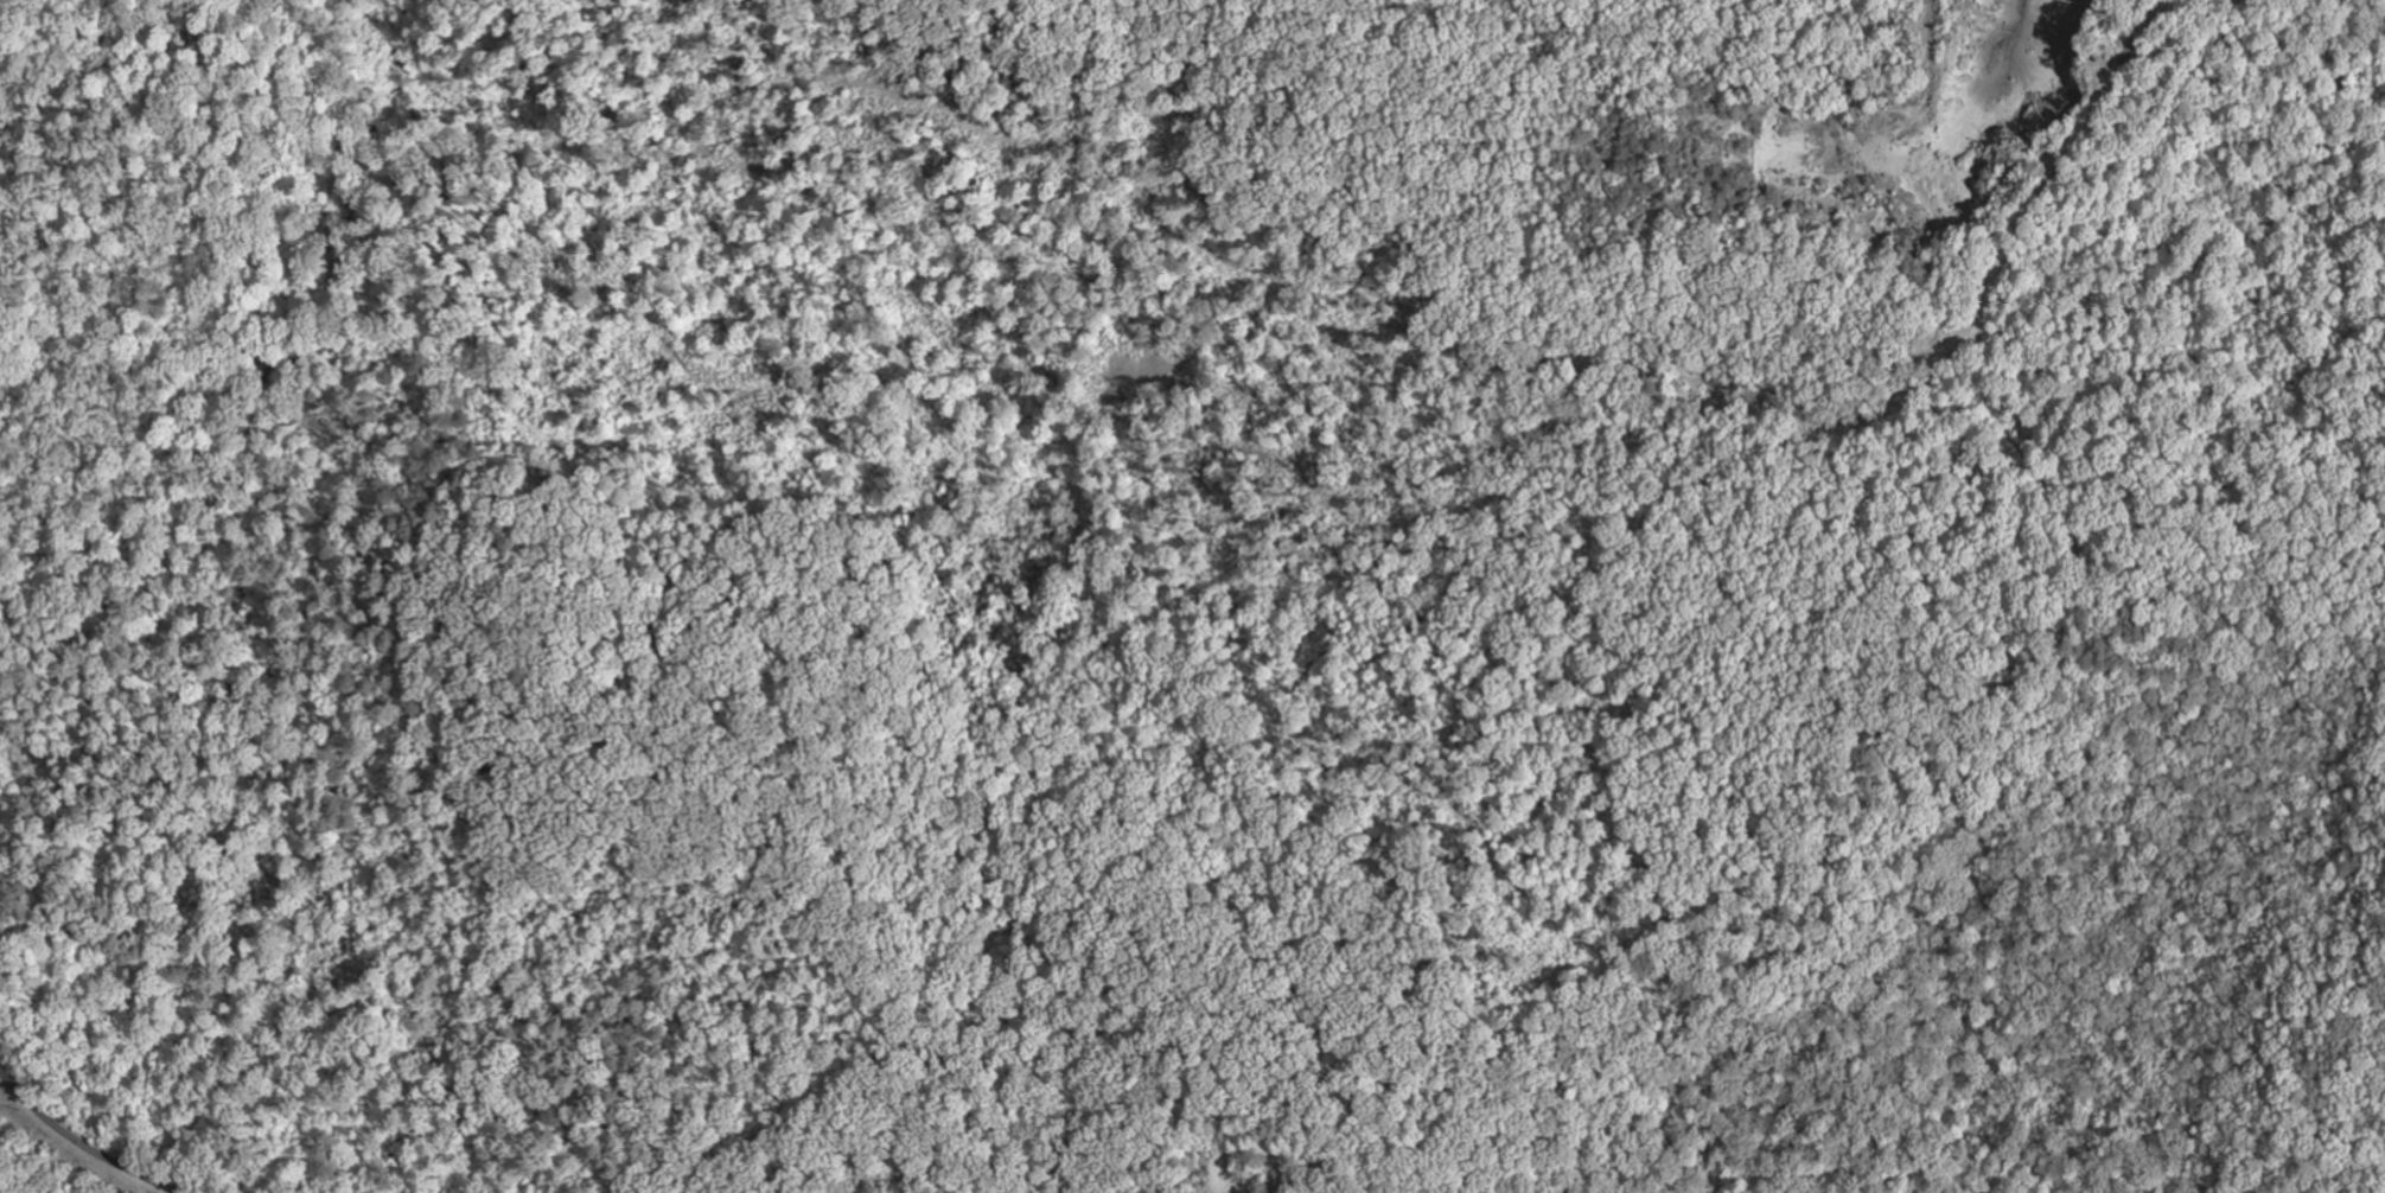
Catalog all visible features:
road: (1944, 689)
road: (79, 1144)

